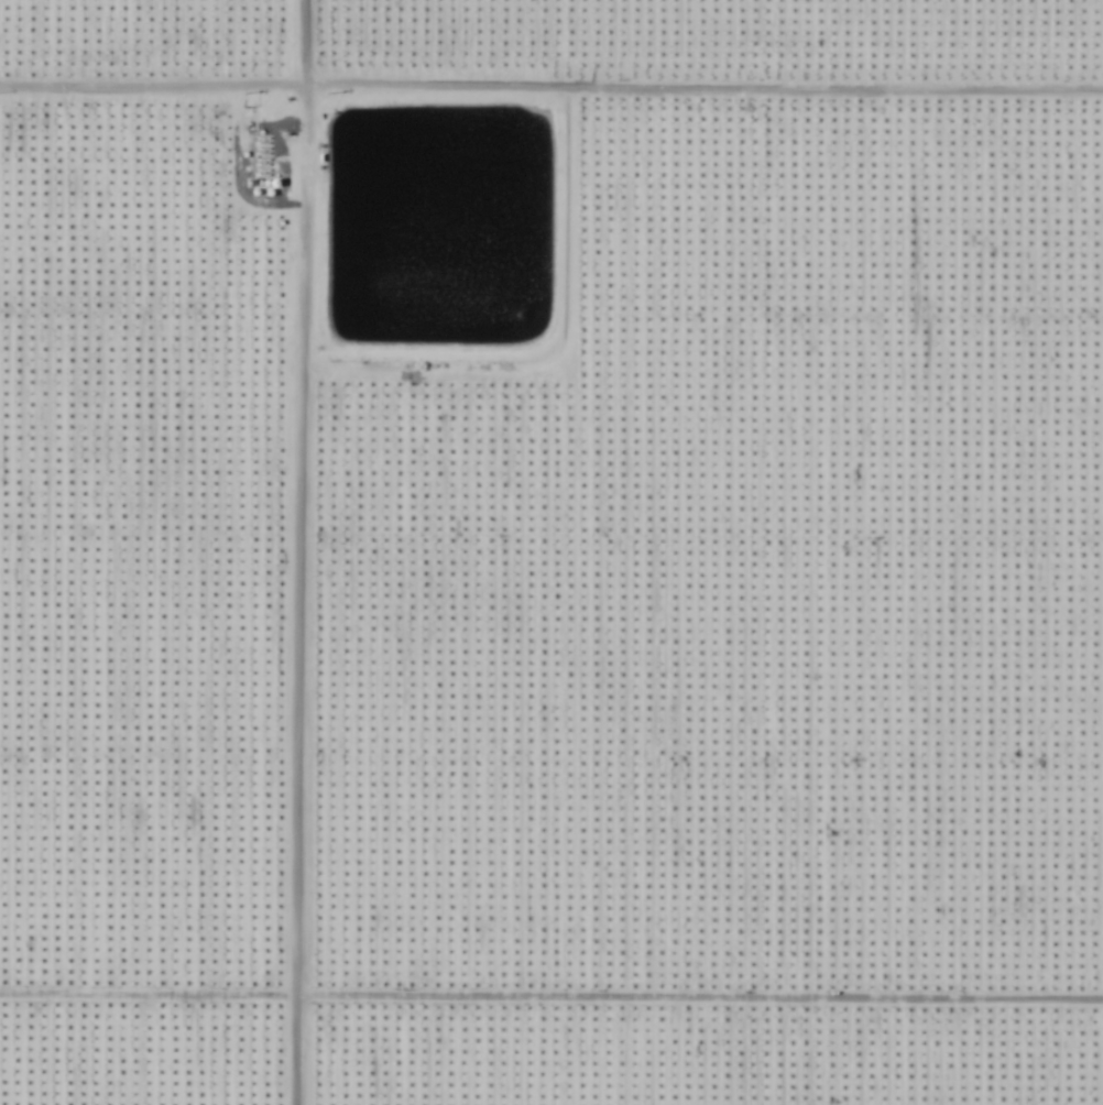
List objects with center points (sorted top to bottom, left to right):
road: (550, 95)
road: (291, 551)
road: (551, 1004)

